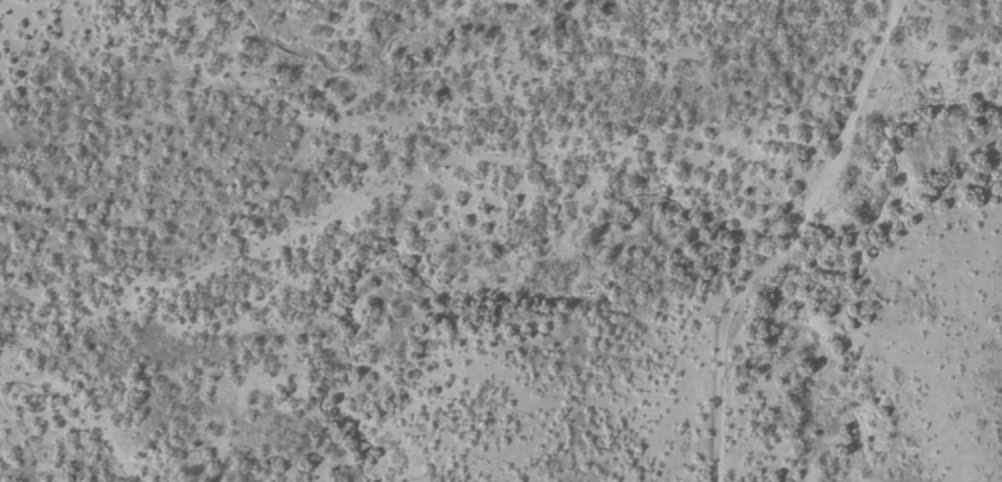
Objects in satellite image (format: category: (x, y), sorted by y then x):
road: (727, 234)

